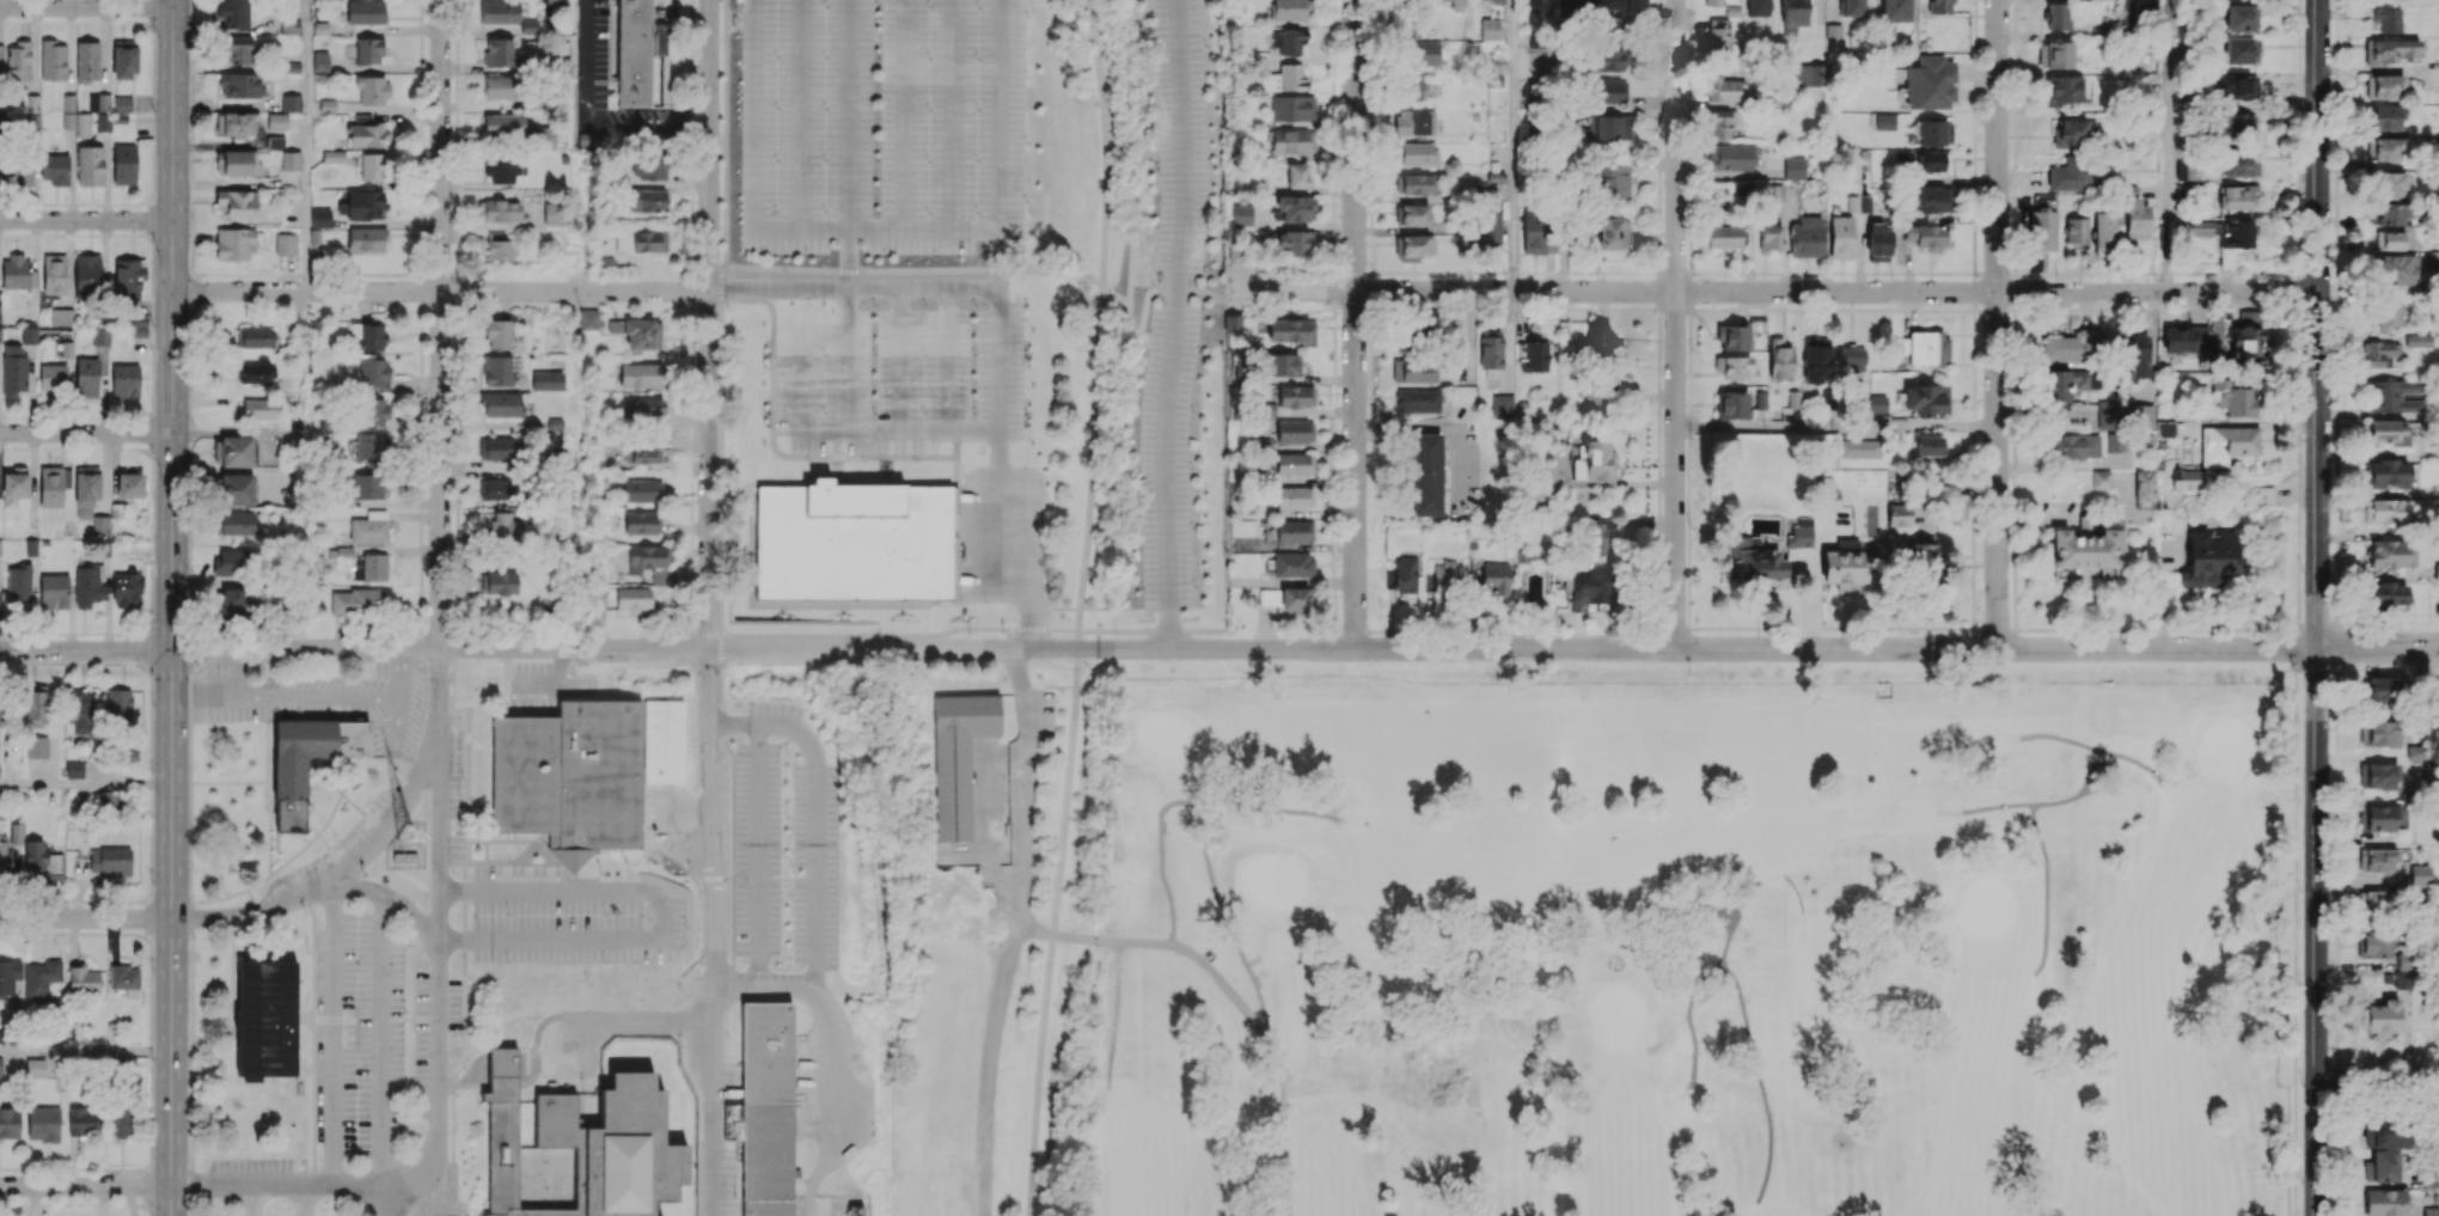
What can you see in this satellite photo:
building: (556, 1)
building: (1443, 1)
building: (1496, 1)
building: (1713, 2)
building: (1608, 4)
road: (86, 5)
building: (1534, 5)
building: (1943, 6)
building: (1758, 7)
building: (1852, 7)
building: (1289, 10)
building: (1895, 11)
building: (365, 12)
building: (499, 12)
building: (233, 13)
building: (1793, 14)
building: (2133, 14)
building: (2055, 16)
building: (2239, 17)
building: (734, 19)
building: (2388, 19)
building: (289, 26)
building: (1490, 29)
building: (1610, 29)
building: (1833, 32)
building: (1717, 39)
building: (1291, 41)
building: (238, 50)
building: (368, 50)
building: (2239, 50)
building: (2389, 50)
building: (497, 51)
building: (636, 51)
building: (1422, 53)
building: (2054, 54)
building: (124, 59)
building: (53, 60)
building: (1606, 60)
building: (19, 61)
building: (87, 61)
building: (320, 61)
building: (1494, 63)
road: (587, 65)
building: (1808, 74)
building: (1284, 79)
building: (1930, 84)
building: (240, 85)
building: (499, 86)
building: (1413, 86)
building: (2236, 86)
building: (2384, 87)
building: (372, 88)
building: (1724, 90)
building: (2060, 90)
building: (1608, 91)
building: (291, 102)
building: (1292, 108)
building: (99, 110)
building: (32, 112)
road: (753, 114)
road: (800, 114)
road: (904, 115)
road: (950, 115)
building: (2385, 116)
building: (277, 121)
building: (234, 123)
building: (1414, 123)
building: (82, 124)
building: (503, 124)
parking lot: (881, 124)
building: (1719, 124)
building: (2235, 124)
road: (654, 127)
building: (1607, 128)
road: (726, 130)
building: (2073, 132)
building: (1934, 133)
building: (366, 135)
building: (543, 136)
building: (588, 139)
building: (1291, 140)
building: (275, 142)
road: (848, 143)
road: (1515, 145)
road: (307, 146)
road: (2166, 146)
building: (2384, 148)
building: (1416, 153)
building: (332, 155)
building: (1731, 157)
building: (291, 160)
building: (240, 163)
building: (124, 164)
building: (2239, 164)
building: (90, 165)
building: (371, 166)
building: (650, 166)
building: (1793, 167)
building: (55, 169)
building: (501, 169)
building: (2186, 169)
building: (22, 173)
building: (1297, 175)
building: (2068, 175)
building: (1613, 182)
building: (1413, 183)
building: (2388, 184)
building: (1742, 191)
building: (1773, 193)
building: (2236, 196)
building: (647, 198)
building: (1931, 198)
building: (238, 202)
building: (1859, 203)
building: (362, 204)
building: (1296, 207)
building: (499, 210)
building: (554, 213)
building: (1241, 213)
building: (2389, 213)
building: (1411, 214)
building: (319, 218)
building: (2135, 219)
road: (86, 220)
building: (1489, 228)
building: (2199, 228)
road: (875, 230)
building: (2042, 230)
building: (2104, 231)
building: (1536, 232)
building: (2076, 232)
building: (1613, 233)
building: (2233, 233)
road: (998, 234)
building: (1925, 234)
building: (1722, 237)
building: (1769, 237)
building: (1805, 237)
building: (1841, 237)
building: (2395, 238)
building: (366, 239)
building: (641, 240)
building: (1877, 240)
building: (234, 243)
building: (285, 243)
building: (1294, 243)
building: (499, 246)
building: (1412, 246)
building: (2431, 261)
building: (2394, 268)
road: (912, 269)
building: (17, 270)
building: (54, 273)
building: (86, 275)
building: (1161, 276)
building: (129, 277)
road: (721, 282)
road: (1771, 291)
road: (589, 292)
road: (1234, 300)
parking lot: (1173, 305)
building: (61, 314)
building: (2389, 314)
building: (589, 318)
road: (1127, 318)
road: (709, 323)
road: (1099, 323)
road: (1173, 323)
road: (1353, 323)
road: (440, 324)
road: (1676, 324)
road: (1997, 324)
building: (1291, 330)
building: (637, 331)
building: (29, 334)
building: (497, 334)
building: (1413, 334)
building: (2247, 335)
building: (257, 336)
building: (367, 336)
building: (100, 337)
building: (1732, 337)
building: (2184, 338)
building: (1596, 340)
building: (2417, 341)
building: (2073, 346)
building: (1927, 348)
building: (1490, 349)
building: (2378, 353)
building: (1533, 356)
building: (2134, 356)
road: (799, 358)
road: (848, 358)
building: (1851, 358)
road: (899, 359)
road: (947, 359)
building: (1815, 359)
building: (1779, 360)
building: (1284, 363)
building: (1736, 368)
building: (496, 369)
building: (13, 371)
building: (372, 371)
building: (1414, 371)
building: (257, 372)
building: (641, 374)
building: (86, 377)
parking lot: (898, 378)
building: (53, 379)
building: (124, 380)
building: (546, 380)
building: (2070, 383)
building: (1295, 396)
building: (2392, 396)
building: (1590, 397)
building: (2236, 398)
building: (1926, 399)
building: (1417, 401)
building: (1876, 403)
building: (501, 404)
building: (1731, 404)
building: (1502, 405)
building: (258, 409)
building: (642, 409)
building: (1264, 409)
building: (375, 411)
building: (2107, 415)
building: (2139, 415)
road: (1438, 424)
road: (1836, 428)
building: (2164, 428)
road: (898, 429)
building: (1294, 430)
building: (2388, 430)
road: (85, 432)
building: (2232, 440)
building: (2073, 445)
building: (1928, 446)
building: (372, 447)
building: (499, 447)
building: (1860, 448)
building: (236, 451)
building: (642, 454)
road: (721, 457)
road: (837, 459)
building: (1593, 460)
building: (1294, 464)
road: (2060, 464)
building: (2388, 472)
building: (1425, 473)
building: (2101, 478)
building: (2184, 479)
building: (836, 482)
building: (16, 483)
road: (852, 483)
building: (129, 484)
building: (367, 485)
building: (51, 487)
building: (86, 489)
building: (236, 489)
building: (494, 489)
building: (2144, 489)
building: (642, 490)
building: (2263, 495)
building: (1294, 497)
building: (1828, 500)
building: (2386, 512)
building: (1897, 518)
building: (238, 523)
building: (642, 523)
building: (100, 525)
building: (503, 527)
building: (368, 528)
building: (1294, 531)
building: (1801, 532)
building: (1597, 542)
building: (854, 543)
building: (2089, 546)
building: (2390, 554)
building: (2208, 558)
building: (1752, 560)
building: (649, 562)
road: (1008, 562)
building: (231, 563)
building: (1292, 564)
building: (1842, 566)
building: (373, 567)
building: (2437, 570)
building: (2076, 573)
building: (1405, 575)
building: (1442, 576)
building: (1494, 578)
building: (495, 582)
building: (19, 585)
building: (87, 586)
building: (1585, 587)
building: (126, 589)
building: (53, 591)
building: (2388, 594)
building: (632, 598)
building: (232, 599)
building: (1295, 600)
building: (357, 601)
road: (172, 607)
road: (2318, 607)
road: (1826, 629)
road: (2367, 635)
road: (1304, 647)
road: (86, 650)
traffic signals: (172, 650)
road: (1014, 654)
road: (575, 660)
road: (317, 661)
road: (746, 661)
road: (570, 665)
road: (234, 674)
road: (399, 674)
parking lot: (542, 683)
road: (536, 684)
building: (2382, 690)
road: (316, 701)
building: (118, 704)
parking lot: (324, 704)
building: (36, 709)
building: (78, 710)
road: (190, 725)
road: (707, 727)
building: (2377, 733)
park: (1165, 738)
road: (270, 741)
building: (661, 741)
road: (396, 744)
road: (2077, 744)
building: (36, 746)
park: (2223, 748)
building: (311, 750)
building: (128, 756)
building: (960, 757)
building: (362, 762)
building: (73, 769)
parking lot: (453, 772)
road: (348, 775)
building: (569, 775)
building: (2378, 775)
road: (325, 781)
road: (231, 783)
road: (86, 784)
road: (489, 798)
building: (108, 800)
road: (439, 802)
road: (1181, 803)
road: (674, 805)
road: (2021, 805)
road: (814, 812)
road: (362, 813)
road: (331, 814)
road: (398, 815)
building: (2379, 817)
road: (270, 830)
road: (711, 839)
road: (681, 841)
road: (190, 842)
road: (458, 843)
road: (512, 843)
building: (8, 845)
parking lot: (338, 851)
road: (331, 853)
road: (478, 854)
road: (754, 854)
road: (295, 855)
building: (405, 855)
building: (2377, 860)
building: (109, 861)
building: (42, 864)
road: (542, 869)
building: (2419, 874)
road: (593, 880)
park: (1272, 881)
road: (258, 882)
road: (483, 882)
road: (319, 887)
road: (622, 888)
road: (2047, 892)
road: (219, 898)
road: (251, 900)
road: (461, 900)
road: (533, 900)
building: (2372, 902)
park: (1987, 908)
road: (86, 917)
road: (2294, 921)
road: (1010, 928)
parking lot: (576, 929)
road: (714, 929)
road: (1052, 931)
road: (628, 943)
building: (2373, 943)
park: (1686, 951)
road: (314, 954)
road: (421, 955)
road: (191, 958)
road: (466, 958)
road: (543, 961)
road: (231, 966)
road: (440, 973)
road: (1005, 974)
building: (10, 976)
building: (39, 978)
building: (82, 979)
building: (124, 979)
road: (505, 979)
road: (629, 979)
building: (2401, 979)
road: (820, 995)
road: (1694, 996)
road: (414, 997)
road: (715, 1003)
road: (1260, 1006)
building: (267, 1016)
road: (306, 1016)
building: (2382, 1016)
road: (213, 1018)
road: (1114, 1018)
park: (1616, 1018)
road: (398, 1020)
road: (650, 1020)
road: (537, 1029)
parking lot: (435, 1033)
road: (334, 1034)
parking lot: (359, 1034)
road: (381, 1039)
road: (86, 1051)
road: (524, 1067)
building: (35, 1068)
road: (414, 1069)
road: (587, 1070)
road: (1759, 1081)
road: (476, 1083)
road: (2378, 1083)
building: (300, 1086)
road: (452, 1093)
road: (314, 1095)
road: (825, 1095)
building: (766, 1110)
road: (192, 1117)
road: (716, 1118)
building: (8, 1122)
building: (80, 1122)
building: (118, 1122)
building: (43, 1123)
building: (2385, 1133)
building: (588, 1144)
road: (831, 1155)
building: (2380, 1166)
parking lot: (256, 1171)
road: (253, 1173)
road: (314, 1179)
road: (409, 1181)
road: (86, 1186)
road: (252, 1200)
road: (304, 1200)
road: (386, 1200)
road: (393, 1200)
building: (2384, 1202)
building: (858, 1210)
building: (2429, 1211)

